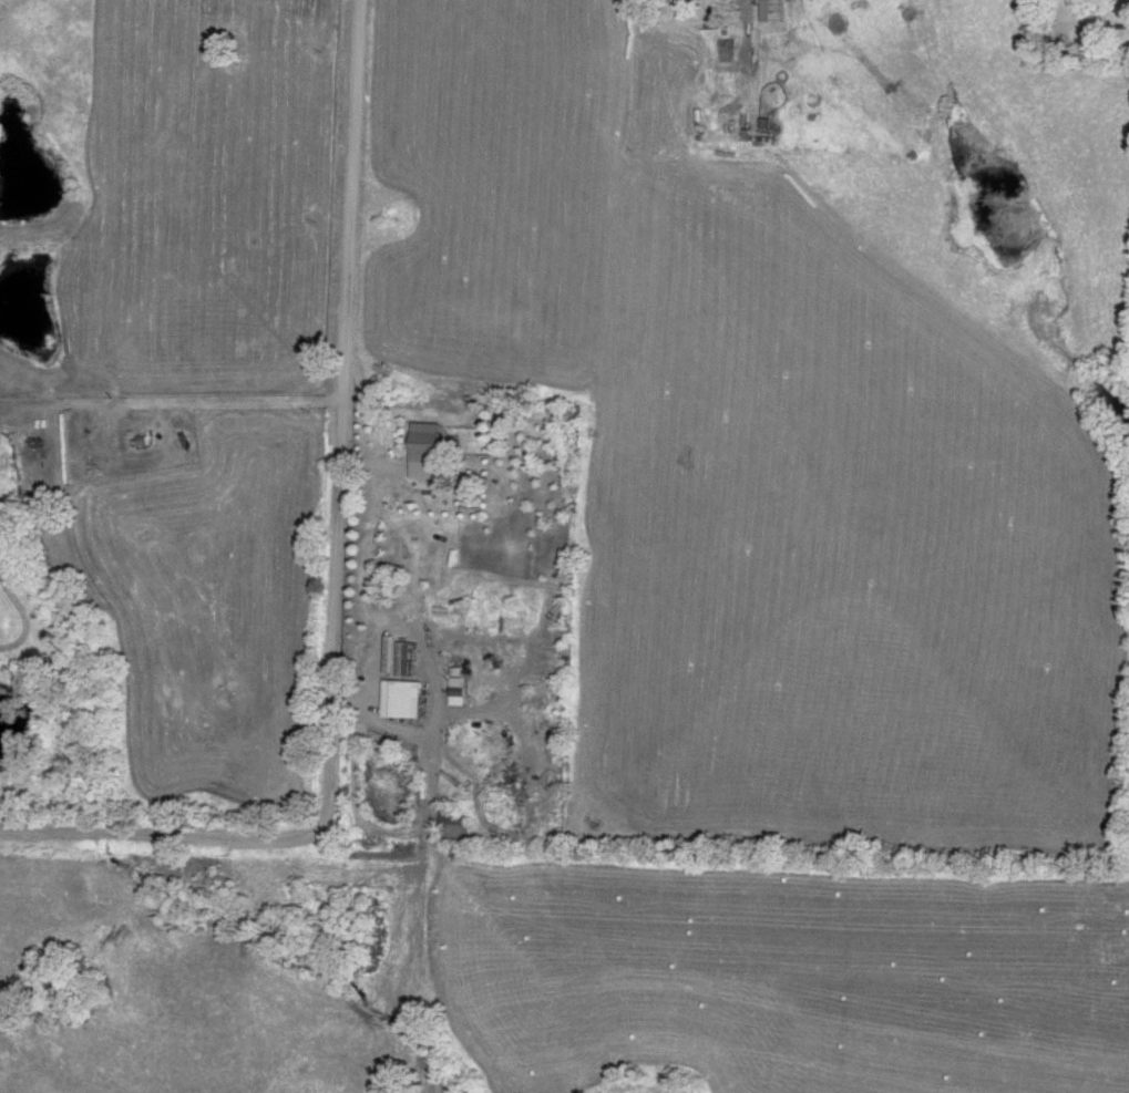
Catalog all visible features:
building: (772, 0)
building: (755, 126)
building: (428, 445)
road: (336, 576)
road: (421, 646)
building: (406, 660)
building: (456, 688)
road: (346, 697)
building: (401, 700)
building: (455, 817)

